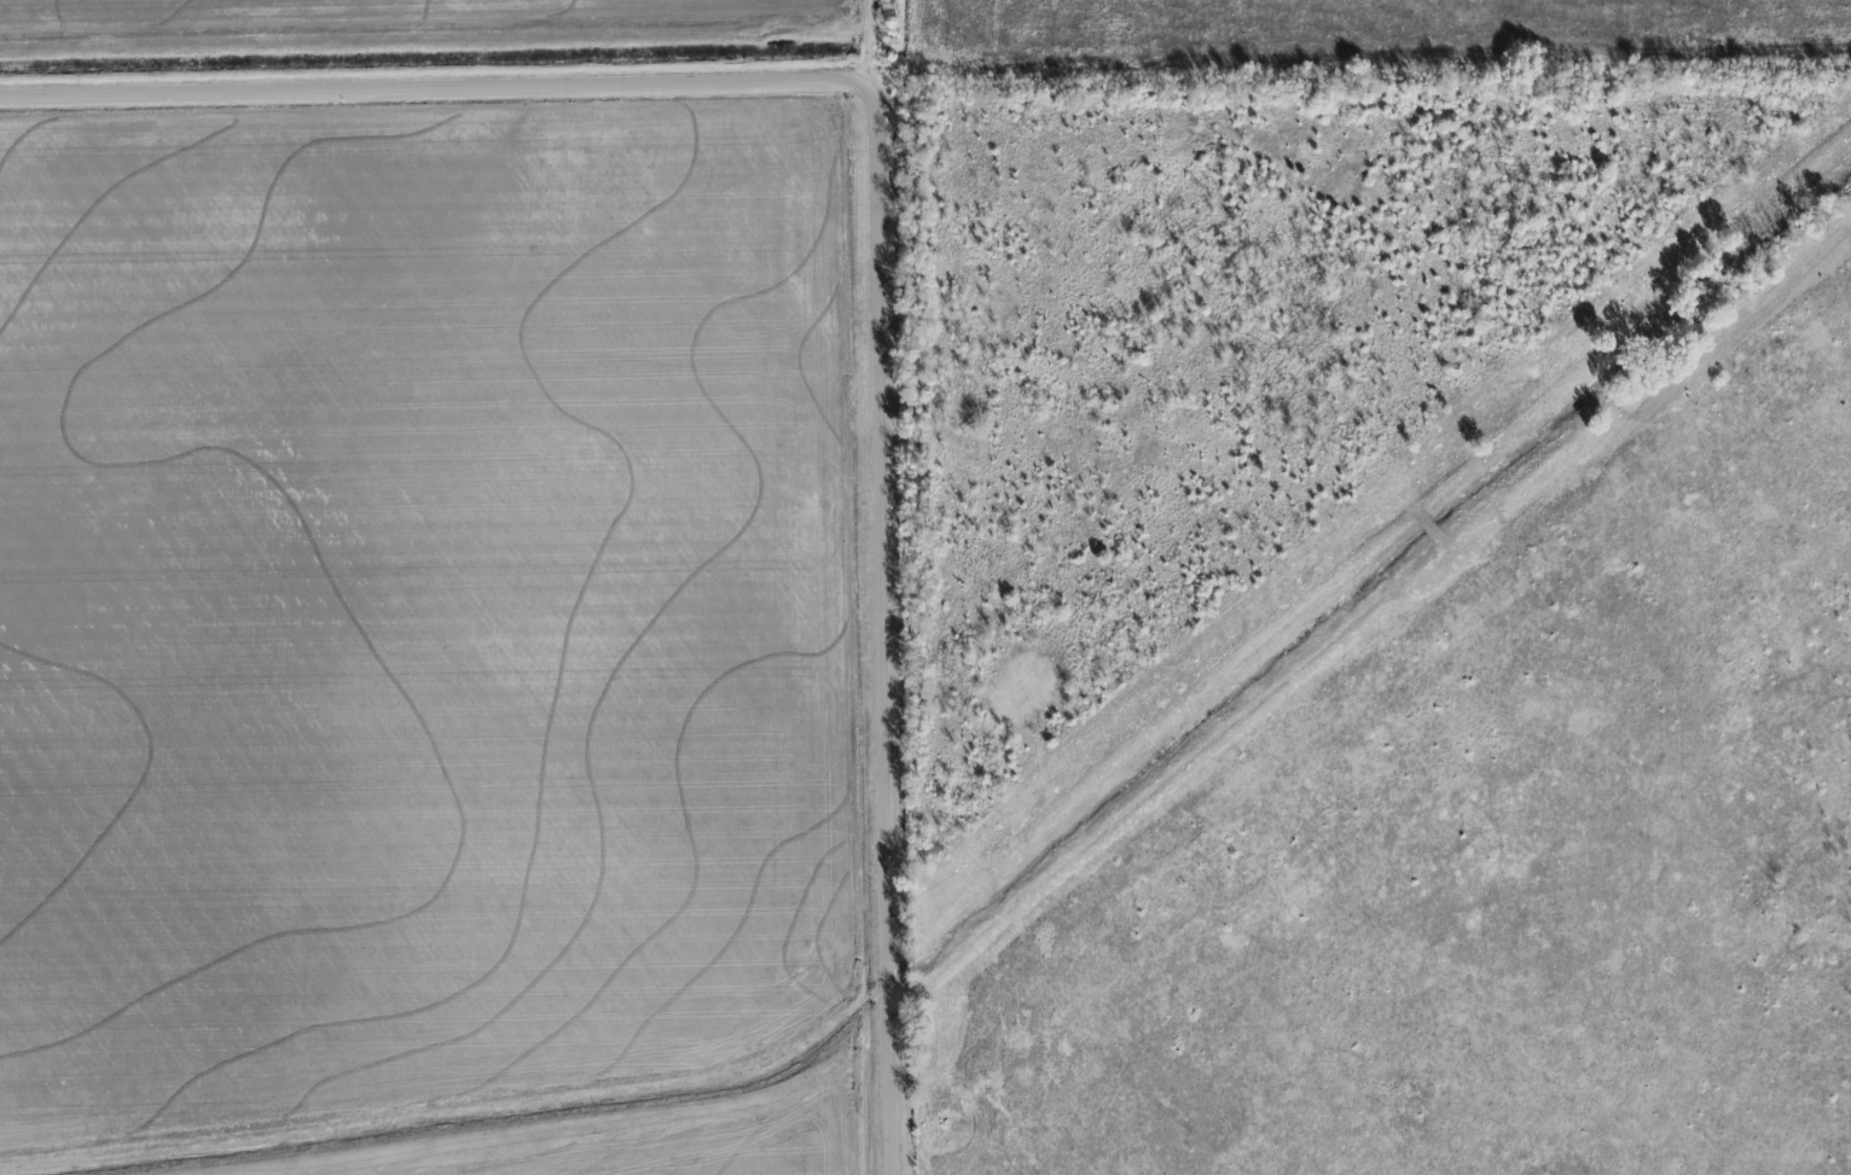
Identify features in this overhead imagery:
road: (875, 196)

